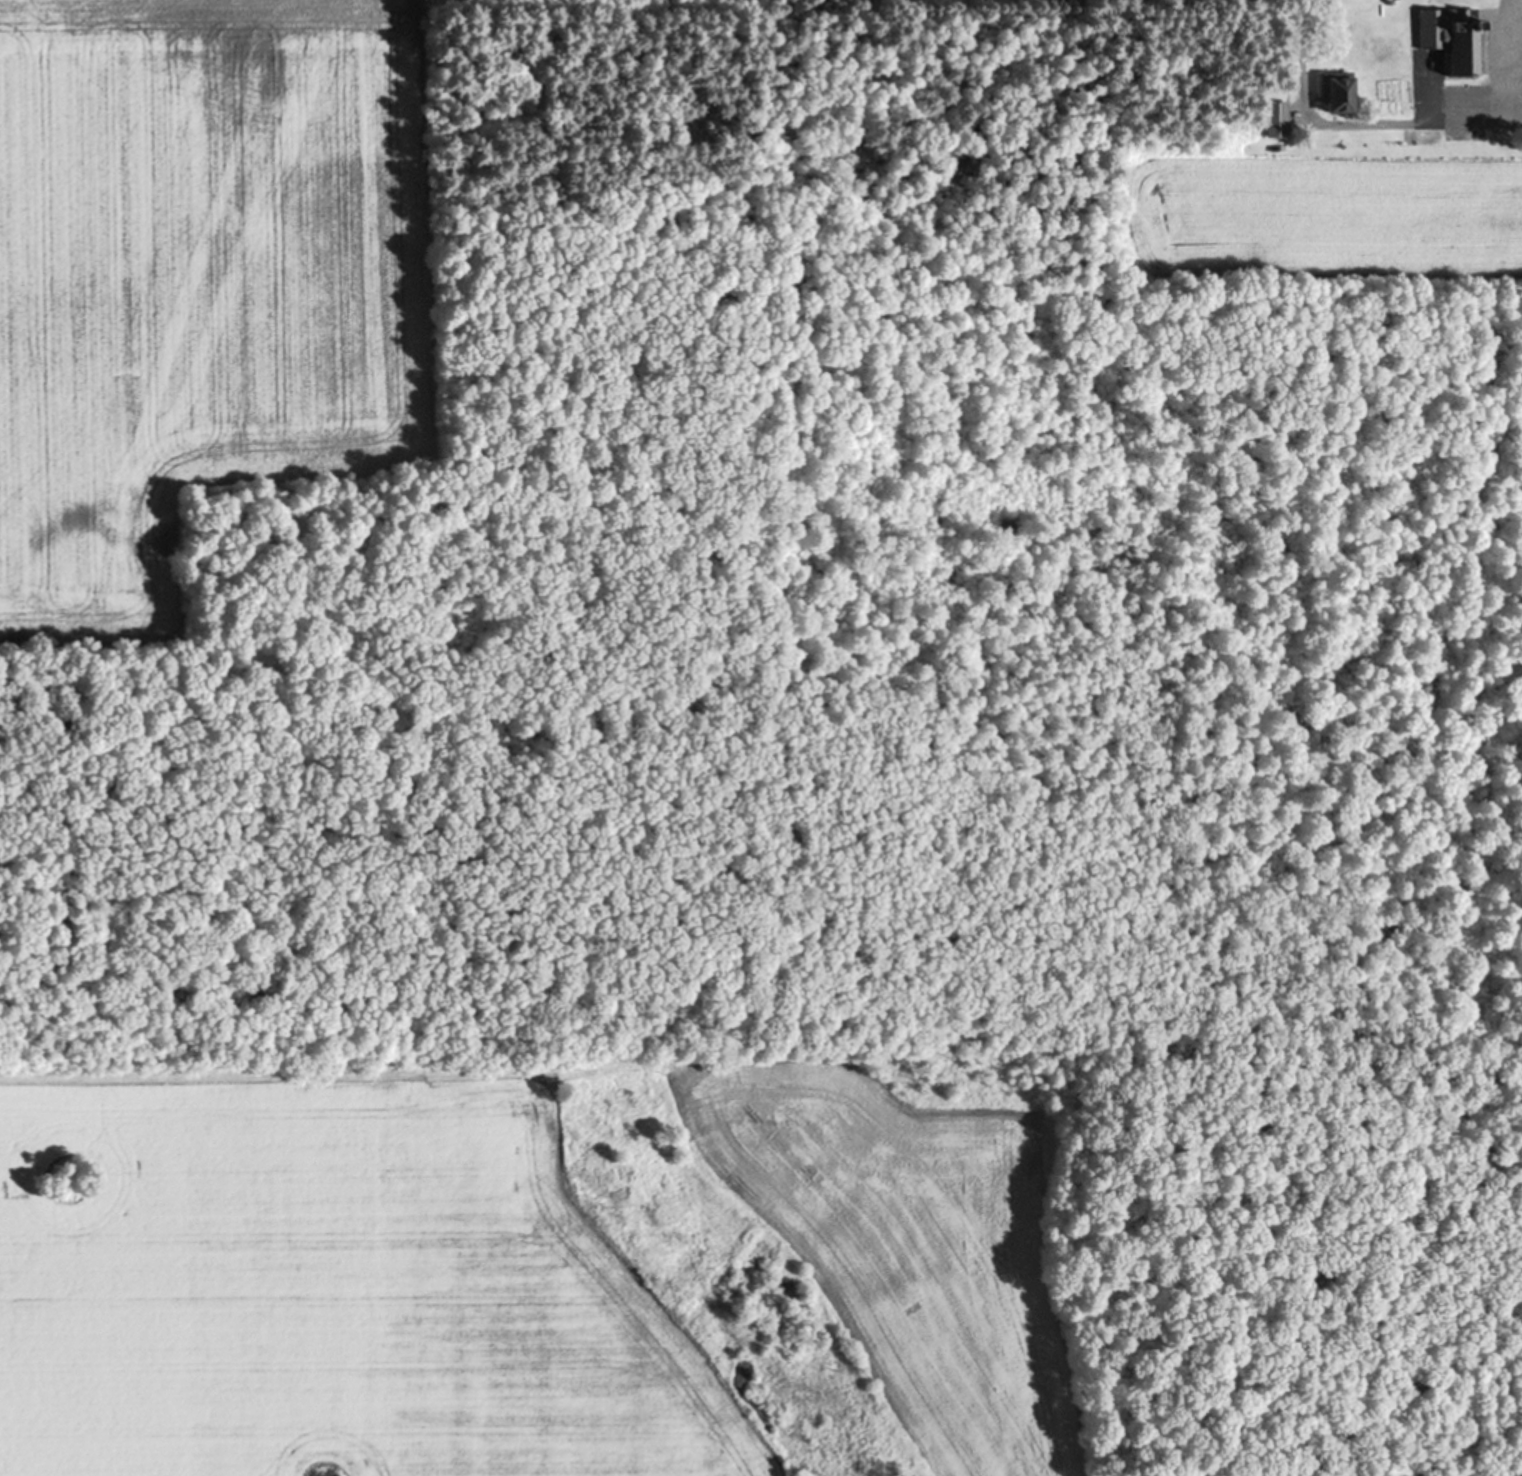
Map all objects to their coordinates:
building: (1449, 38)
building: (1335, 95)
building: (1276, 121)

